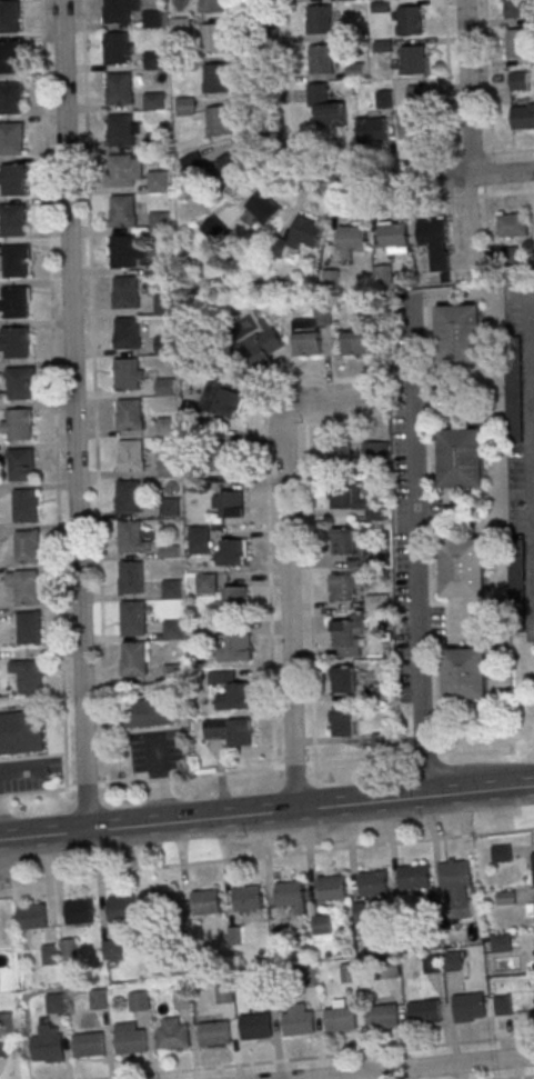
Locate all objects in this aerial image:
building: (211, 6)
building: (516, 9)
building: (117, 11)
building: (9, 16)
building: (152, 19)
building: (319, 19)
building: (409, 20)
building: (180, 24)
building: (213, 38)
building: (517, 44)
building: (117, 48)
building: (10, 58)
building: (320, 59)
building: (412, 60)
building: (152, 61)
building: (182, 64)
building: (214, 77)
road: (487, 77)
building: (518, 80)
road: (265, 84)
road: (467, 88)
building: (119, 89)
building: (415, 93)
building: (10, 98)
building: (384, 99)
road: (447, 99)
building: (152, 101)
building: (325, 106)
building: (184, 107)
road: (249, 110)
building: (522, 117)
building: (219, 121)
building: (412, 126)
building: (120, 130)
building: (371, 130)
building: (10, 139)
building: (154, 141)
road: (304, 148)
building: (230, 166)
building: (121, 171)
road: (484, 179)
building: (12, 180)
road: (409, 180)
building: (157, 181)
road: (393, 203)
building: (262, 207)
building: (122, 210)
building: (12, 220)
building: (159, 223)
building: (510, 224)
road: (468, 226)
building: (299, 237)
building: (393, 237)
building: (351, 241)
building: (432, 243)
building: (122, 250)
building: (14, 261)
building: (382, 274)
building: (330, 278)
building: (125, 292)
building: (16, 302)
building: (163, 304)
building: (124, 332)
building: (310, 332)
building: (459, 334)
building: (16, 342)
building: (357, 342)
building: (163, 346)
building: (261, 348)
building: (127, 374)
building: (18, 382)
building: (164, 388)
road: (92, 392)
road: (52, 394)
building: (221, 394)
road: (74, 414)
building: (128, 414)
building: (18, 423)
building: (165, 427)
road: (525, 444)
building: (375, 450)
building: (130, 456)
building: (224, 457)
building: (339, 457)
building: (461, 457)
building: (19, 464)
building: (167, 469)
building: (340, 494)
building: (127, 498)
building: (230, 504)
building: (23, 506)
building: (168, 508)
road: (531, 527)
building: (128, 537)
building: (342, 542)
building: (198, 546)
building: (26, 547)
building: (232, 552)
road: (414, 553)
road: (306, 558)
road: (286, 560)
building: (463, 567)
building: (130, 578)
building: (204, 583)
building: (23, 586)
building: (341, 588)
building: (170, 590)
building: (234, 600)
building: (375, 601)
building: (130, 617)
building: (28, 628)
building: (171, 630)
building: (204, 631)
building: (342, 635)
building: (238, 648)
building: (132, 659)
building: (172, 672)
building: (466, 675)
building: (28, 678)
building: (342, 680)
building: (239, 697)
building: (148, 712)
building: (342, 723)
building: (20, 733)
building: (239, 733)
building: (377, 741)
parking lot: (153, 752)
road: (31, 758)
road: (308, 766)
parking lot: (26, 775)
road: (52, 790)
road: (266, 812)
building: (501, 855)
road: (266, 857)
building: (533, 865)
building: (454, 875)
building: (413, 878)
building: (373, 885)
building: (331, 888)
building: (289, 895)
building: (504, 898)
building: (248, 899)
building: (205, 903)
building: (163, 906)
building: (122, 910)
building: (359, 912)
building: (79, 913)
building: (31, 917)
building: (322, 926)
building: (500, 943)
building: (68, 950)
building: (112, 950)
building: (50, 956)
building: (451, 963)
building: (432, 965)
building: (390, 970)
building: (349, 975)
building: (305, 979)
building: (262, 985)
building: (223, 996)
building: (97, 1000)
building: (182, 1000)
building: (137, 1002)
building: (502, 1003)
building: (54, 1006)
building: (468, 1007)
building: (423, 1013)
building: (382, 1018)
building: (340, 1020)
building: (4, 1023)
building: (298, 1025)
building: (255, 1028)
building: (212, 1035)
building: (172, 1038)
building: (129, 1042)
building: (87, 1046)
building: (2, 1048)
building: (46, 1049)
road: (321, 1057)
road: (417, 1067)
road: (524, 1078)

